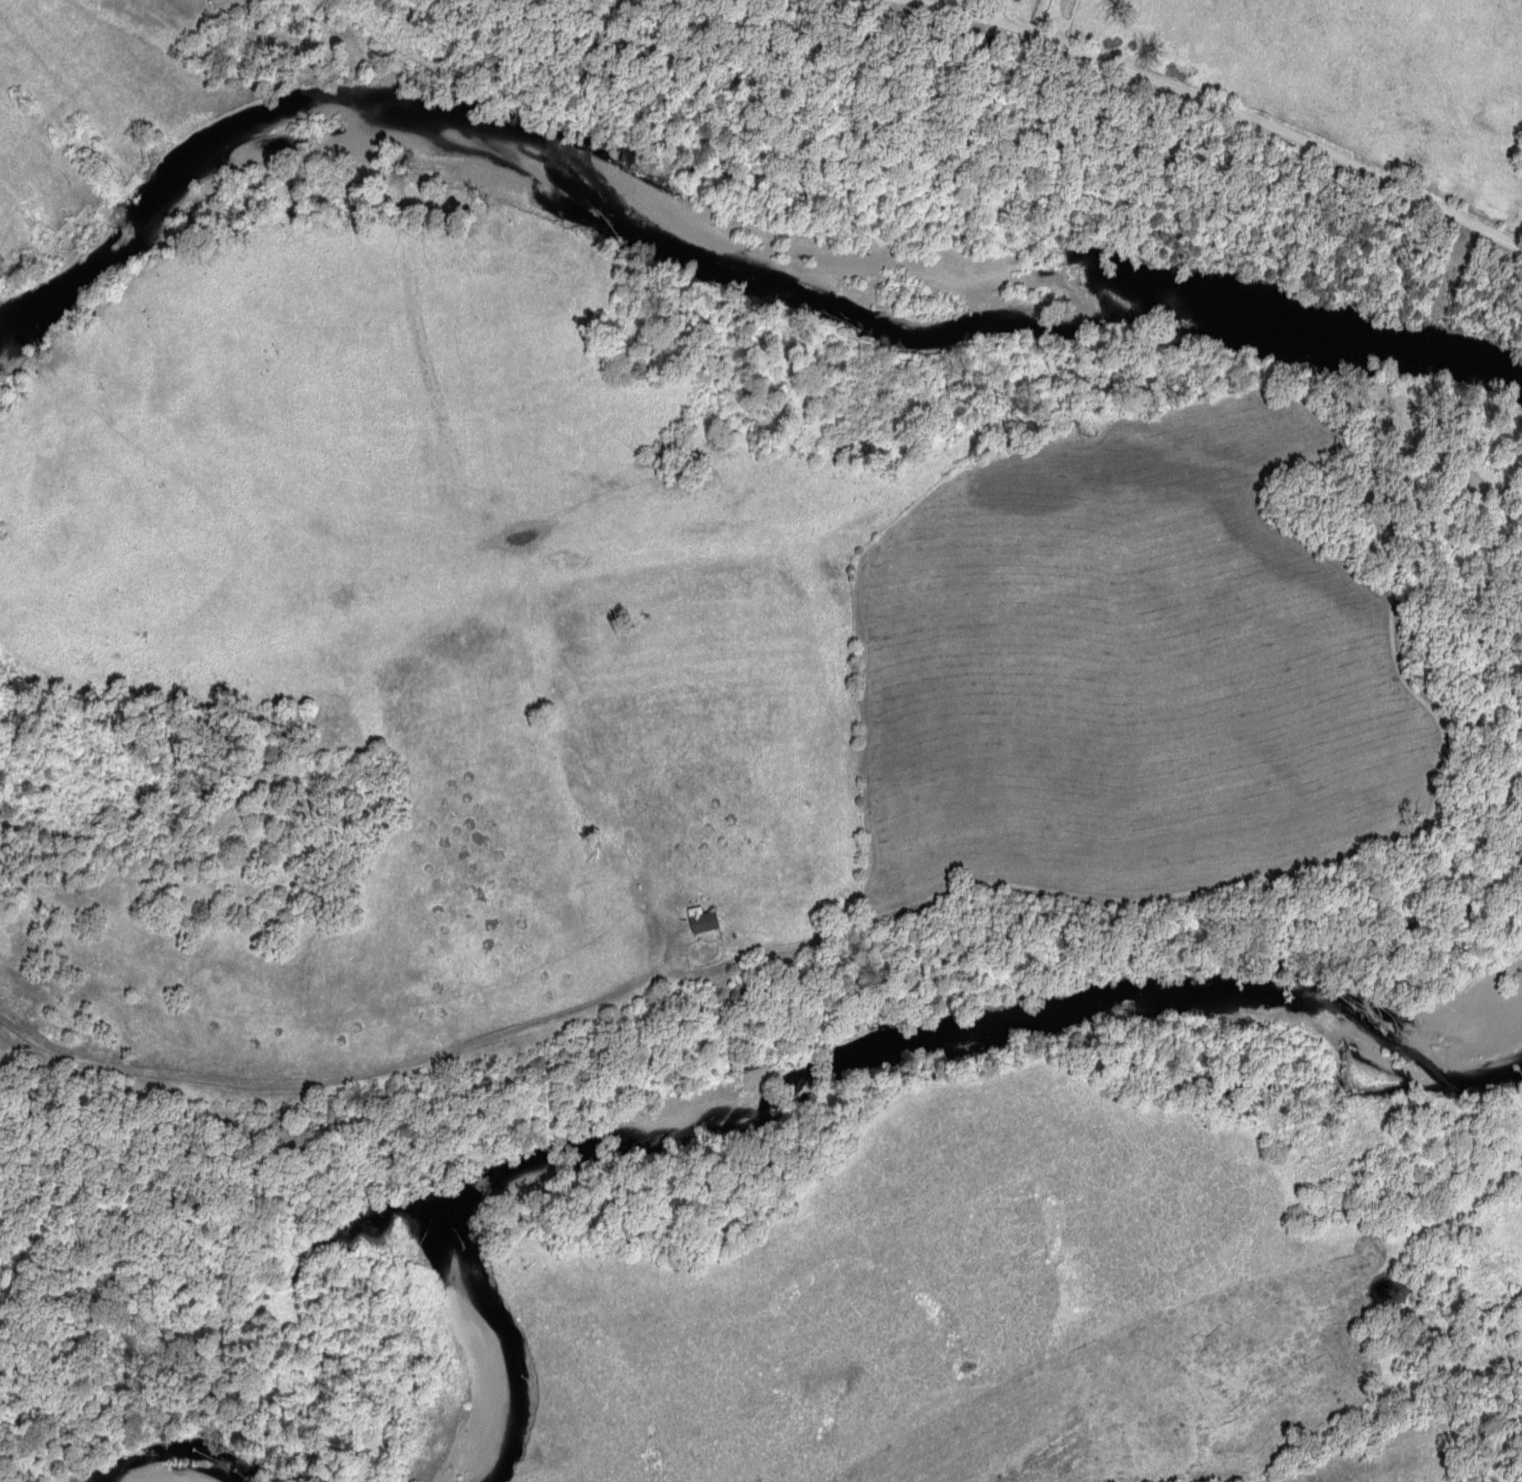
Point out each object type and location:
road: (1225, 103)
river: (721, 252)
road: (369, 1065)
river: (809, 1069)
river: (137, 1479)

